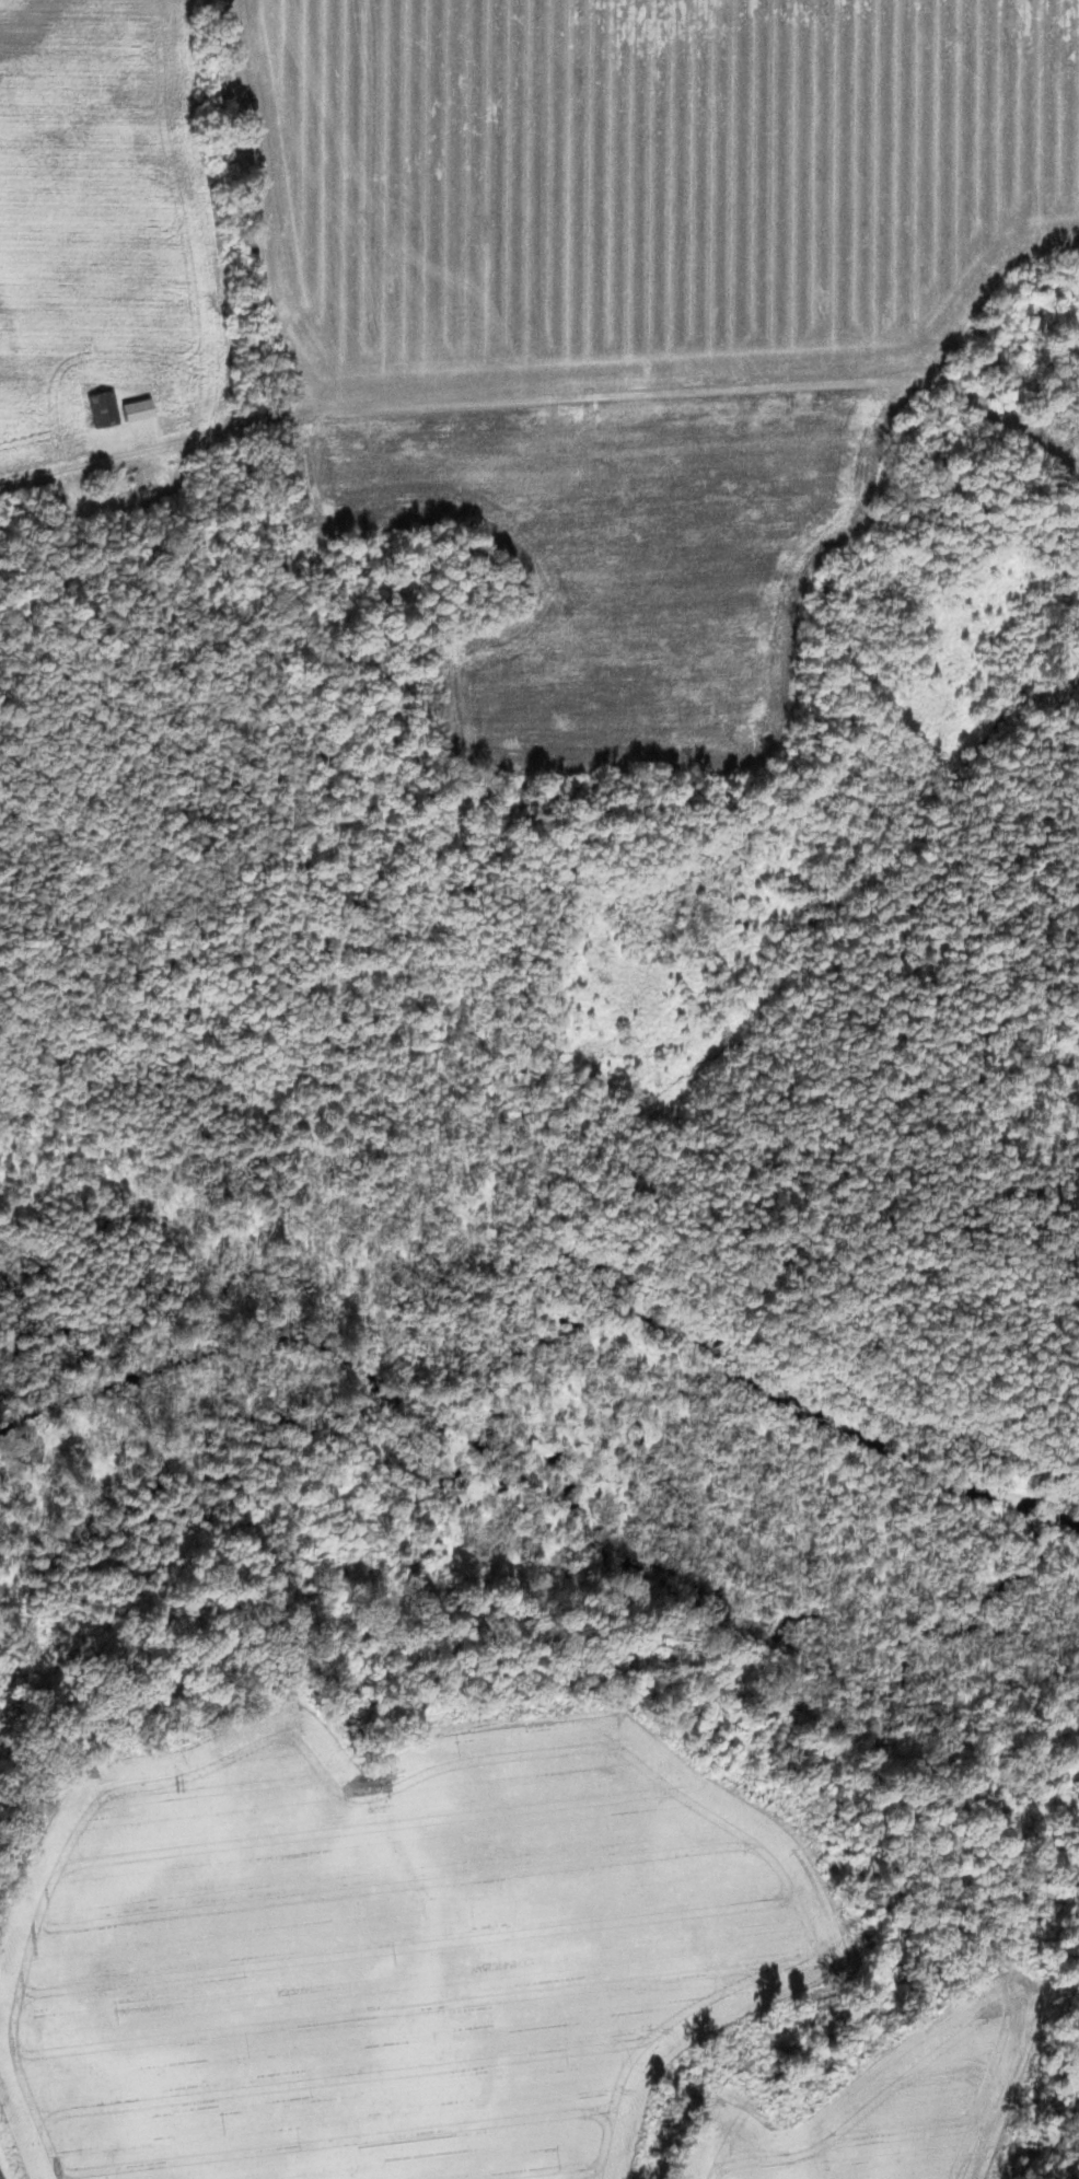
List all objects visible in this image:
building: (98, 408)
building: (131, 409)

